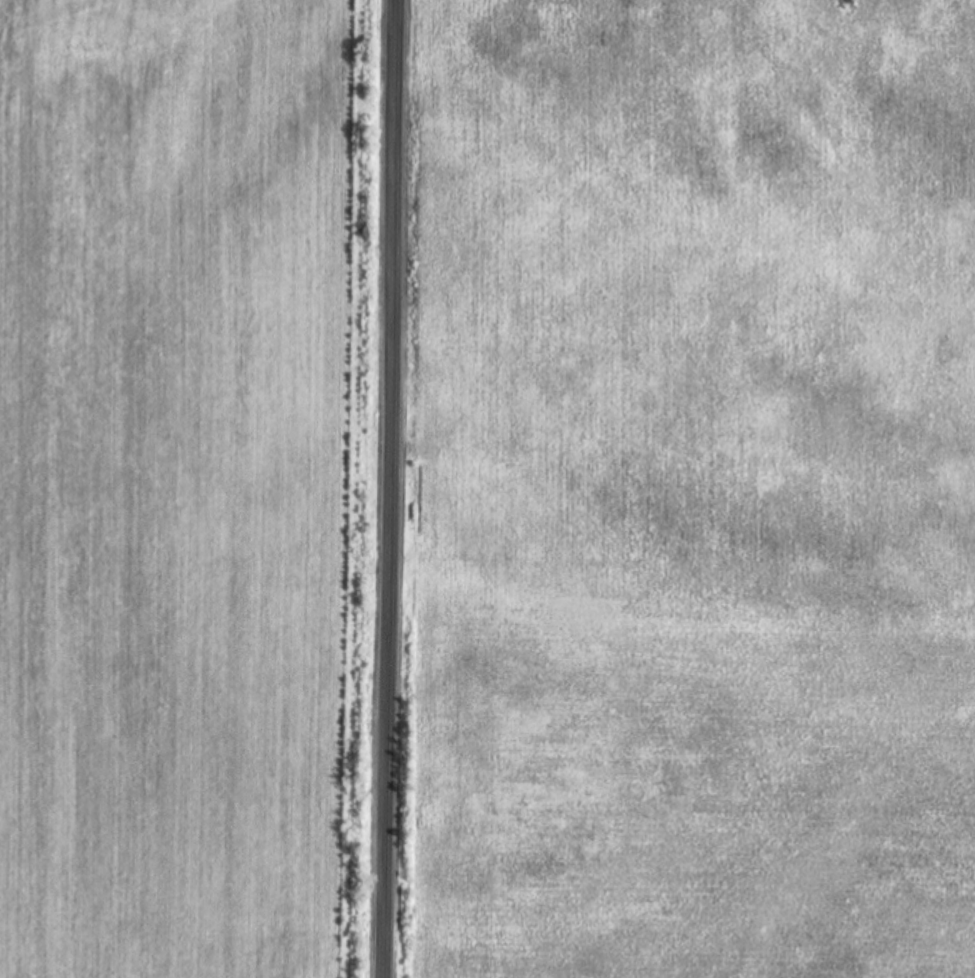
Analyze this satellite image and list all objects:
road: (379, 489)

